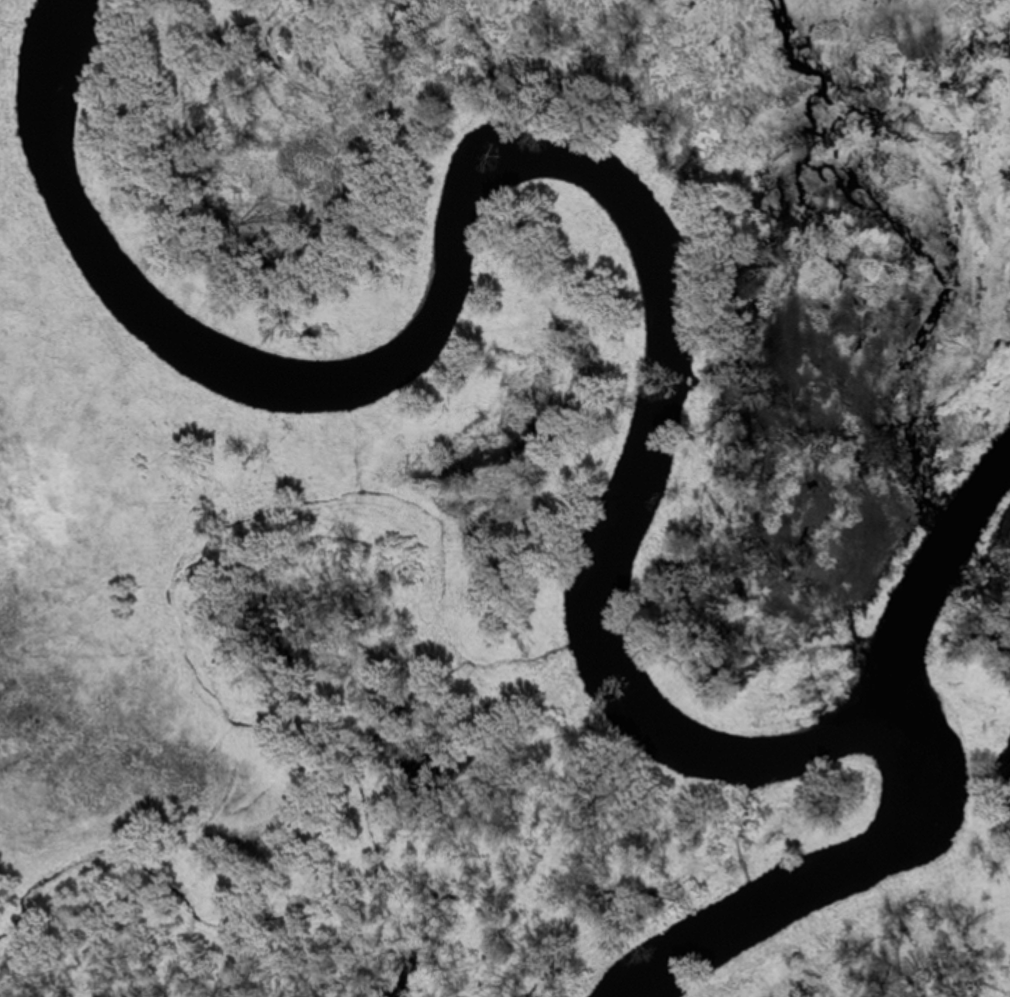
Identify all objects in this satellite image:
river: (430, 246)
river: (232, 699)

